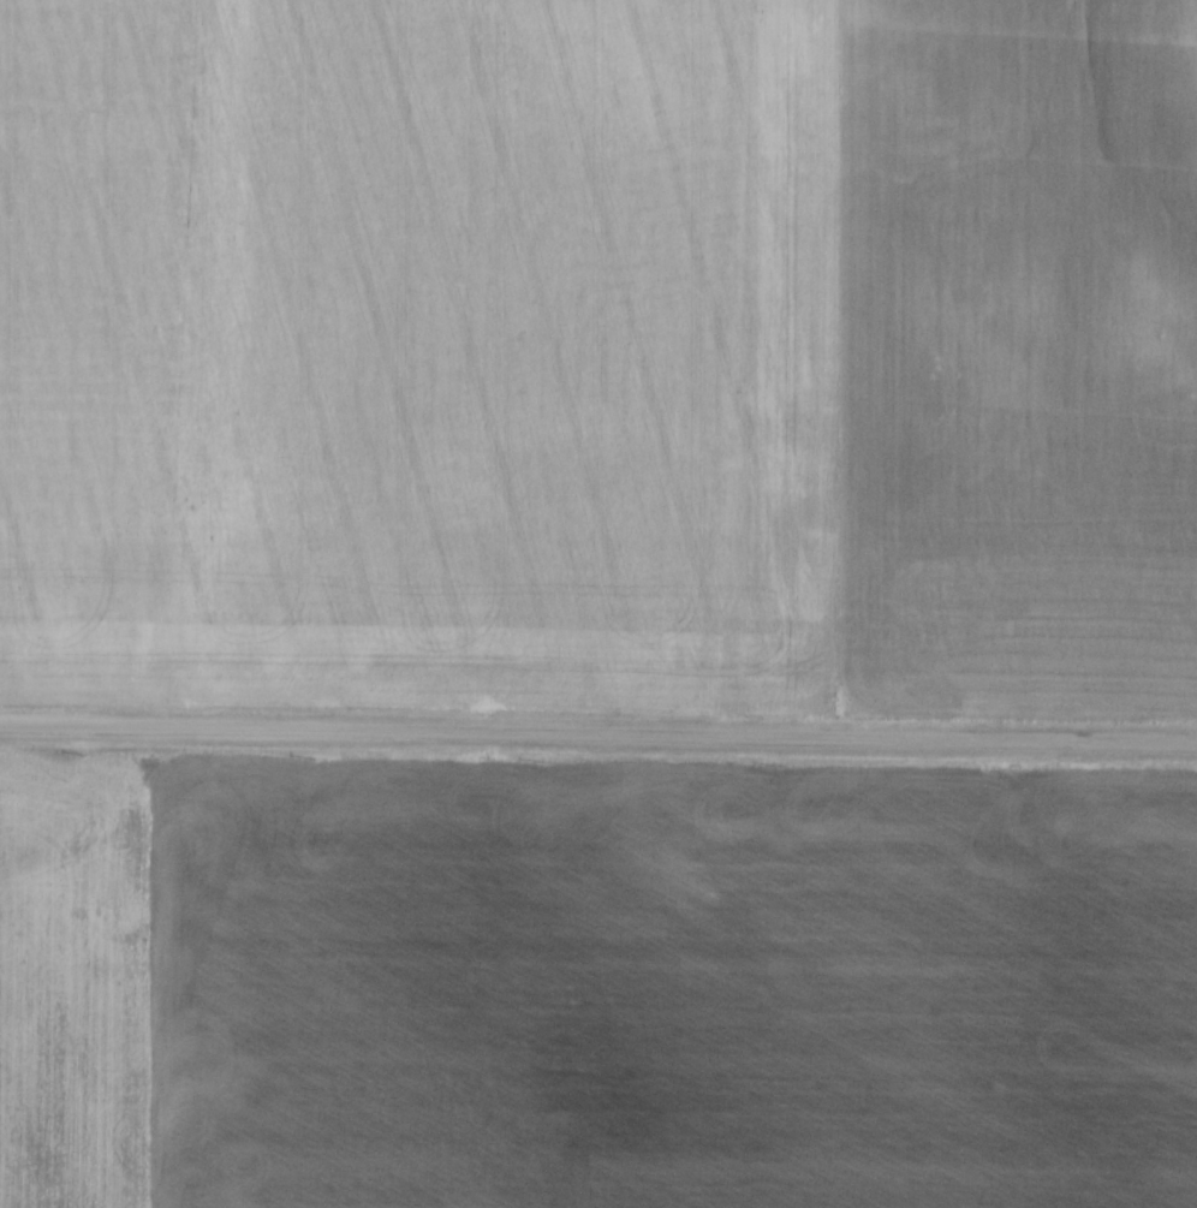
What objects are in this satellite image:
crop: (601, 355)
road: (597, 732)
crop: (592, 981)

